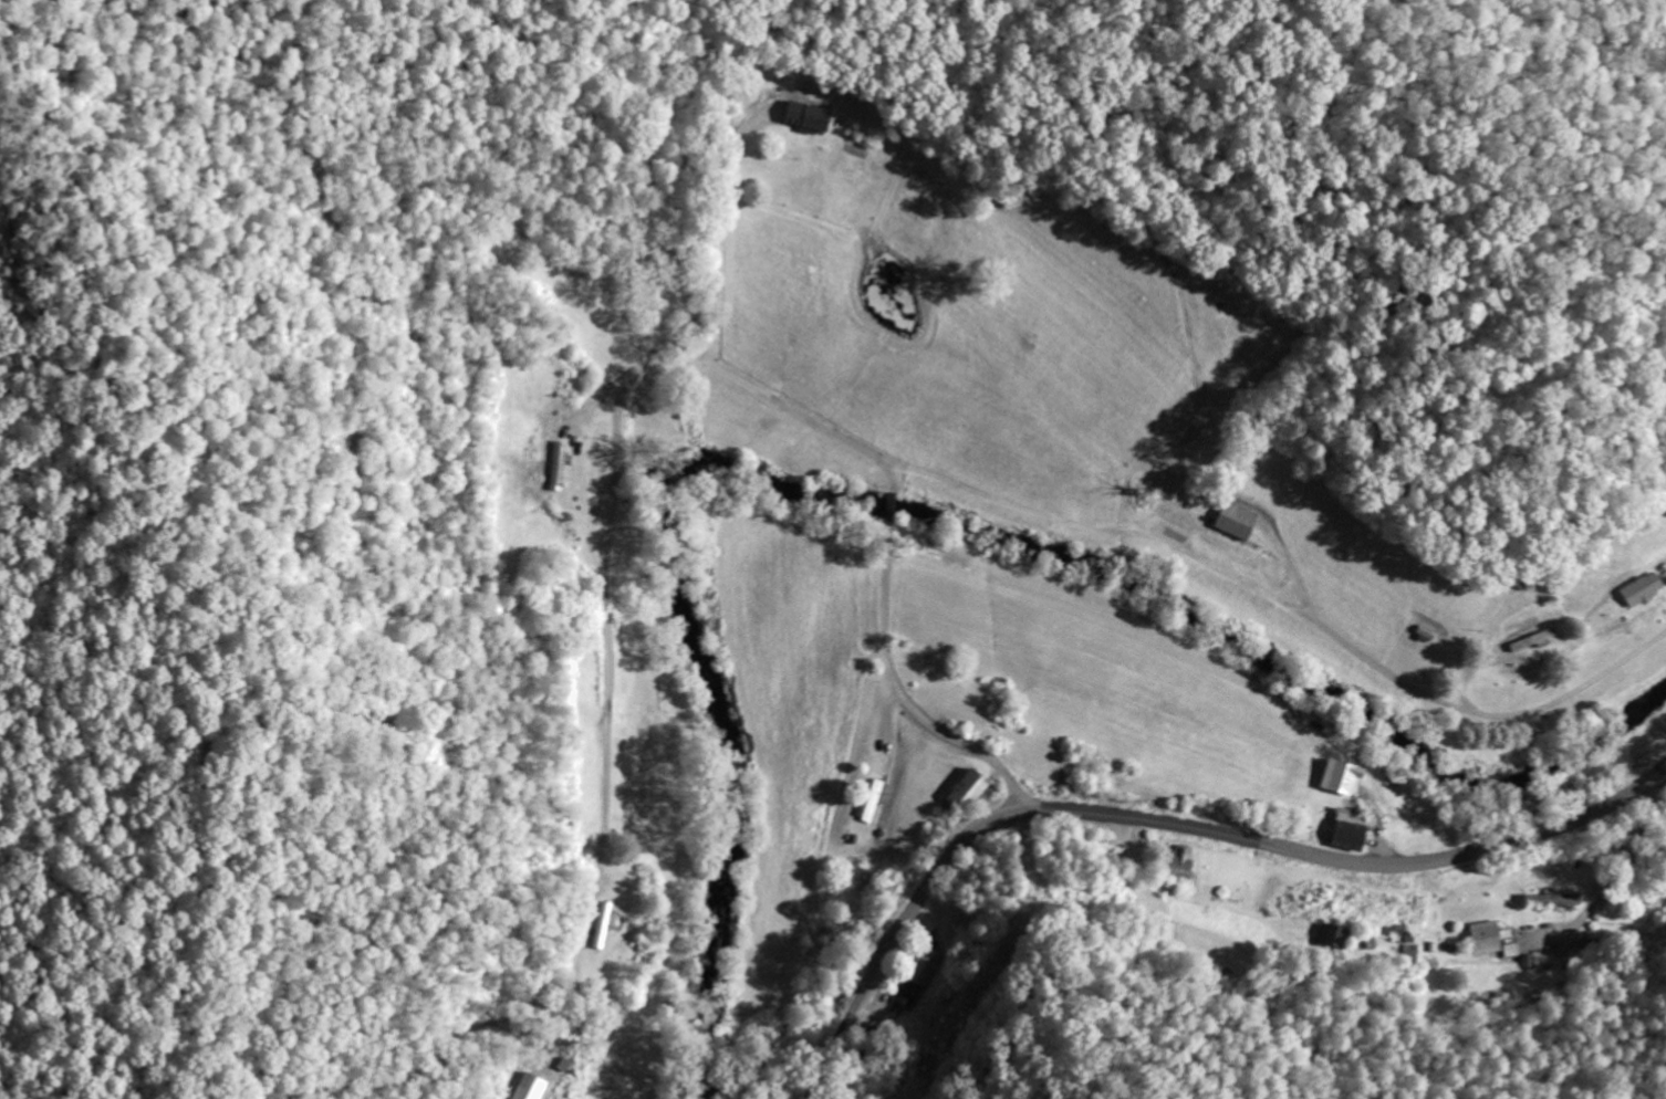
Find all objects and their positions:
building: (805, 119)
road: (714, 223)
road: (643, 367)
building: (555, 468)
building: (1238, 523)
building: (1642, 593)
road: (1285, 605)
building: (1539, 640)
building: (966, 791)
building: (874, 803)
road: (1173, 819)
building: (1347, 833)
building: (1181, 865)
road: (1613, 882)
building: (1556, 902)
building: (603, 927)
building: (1483, 941)
building: (915, 982)
building: (530, 1088)

